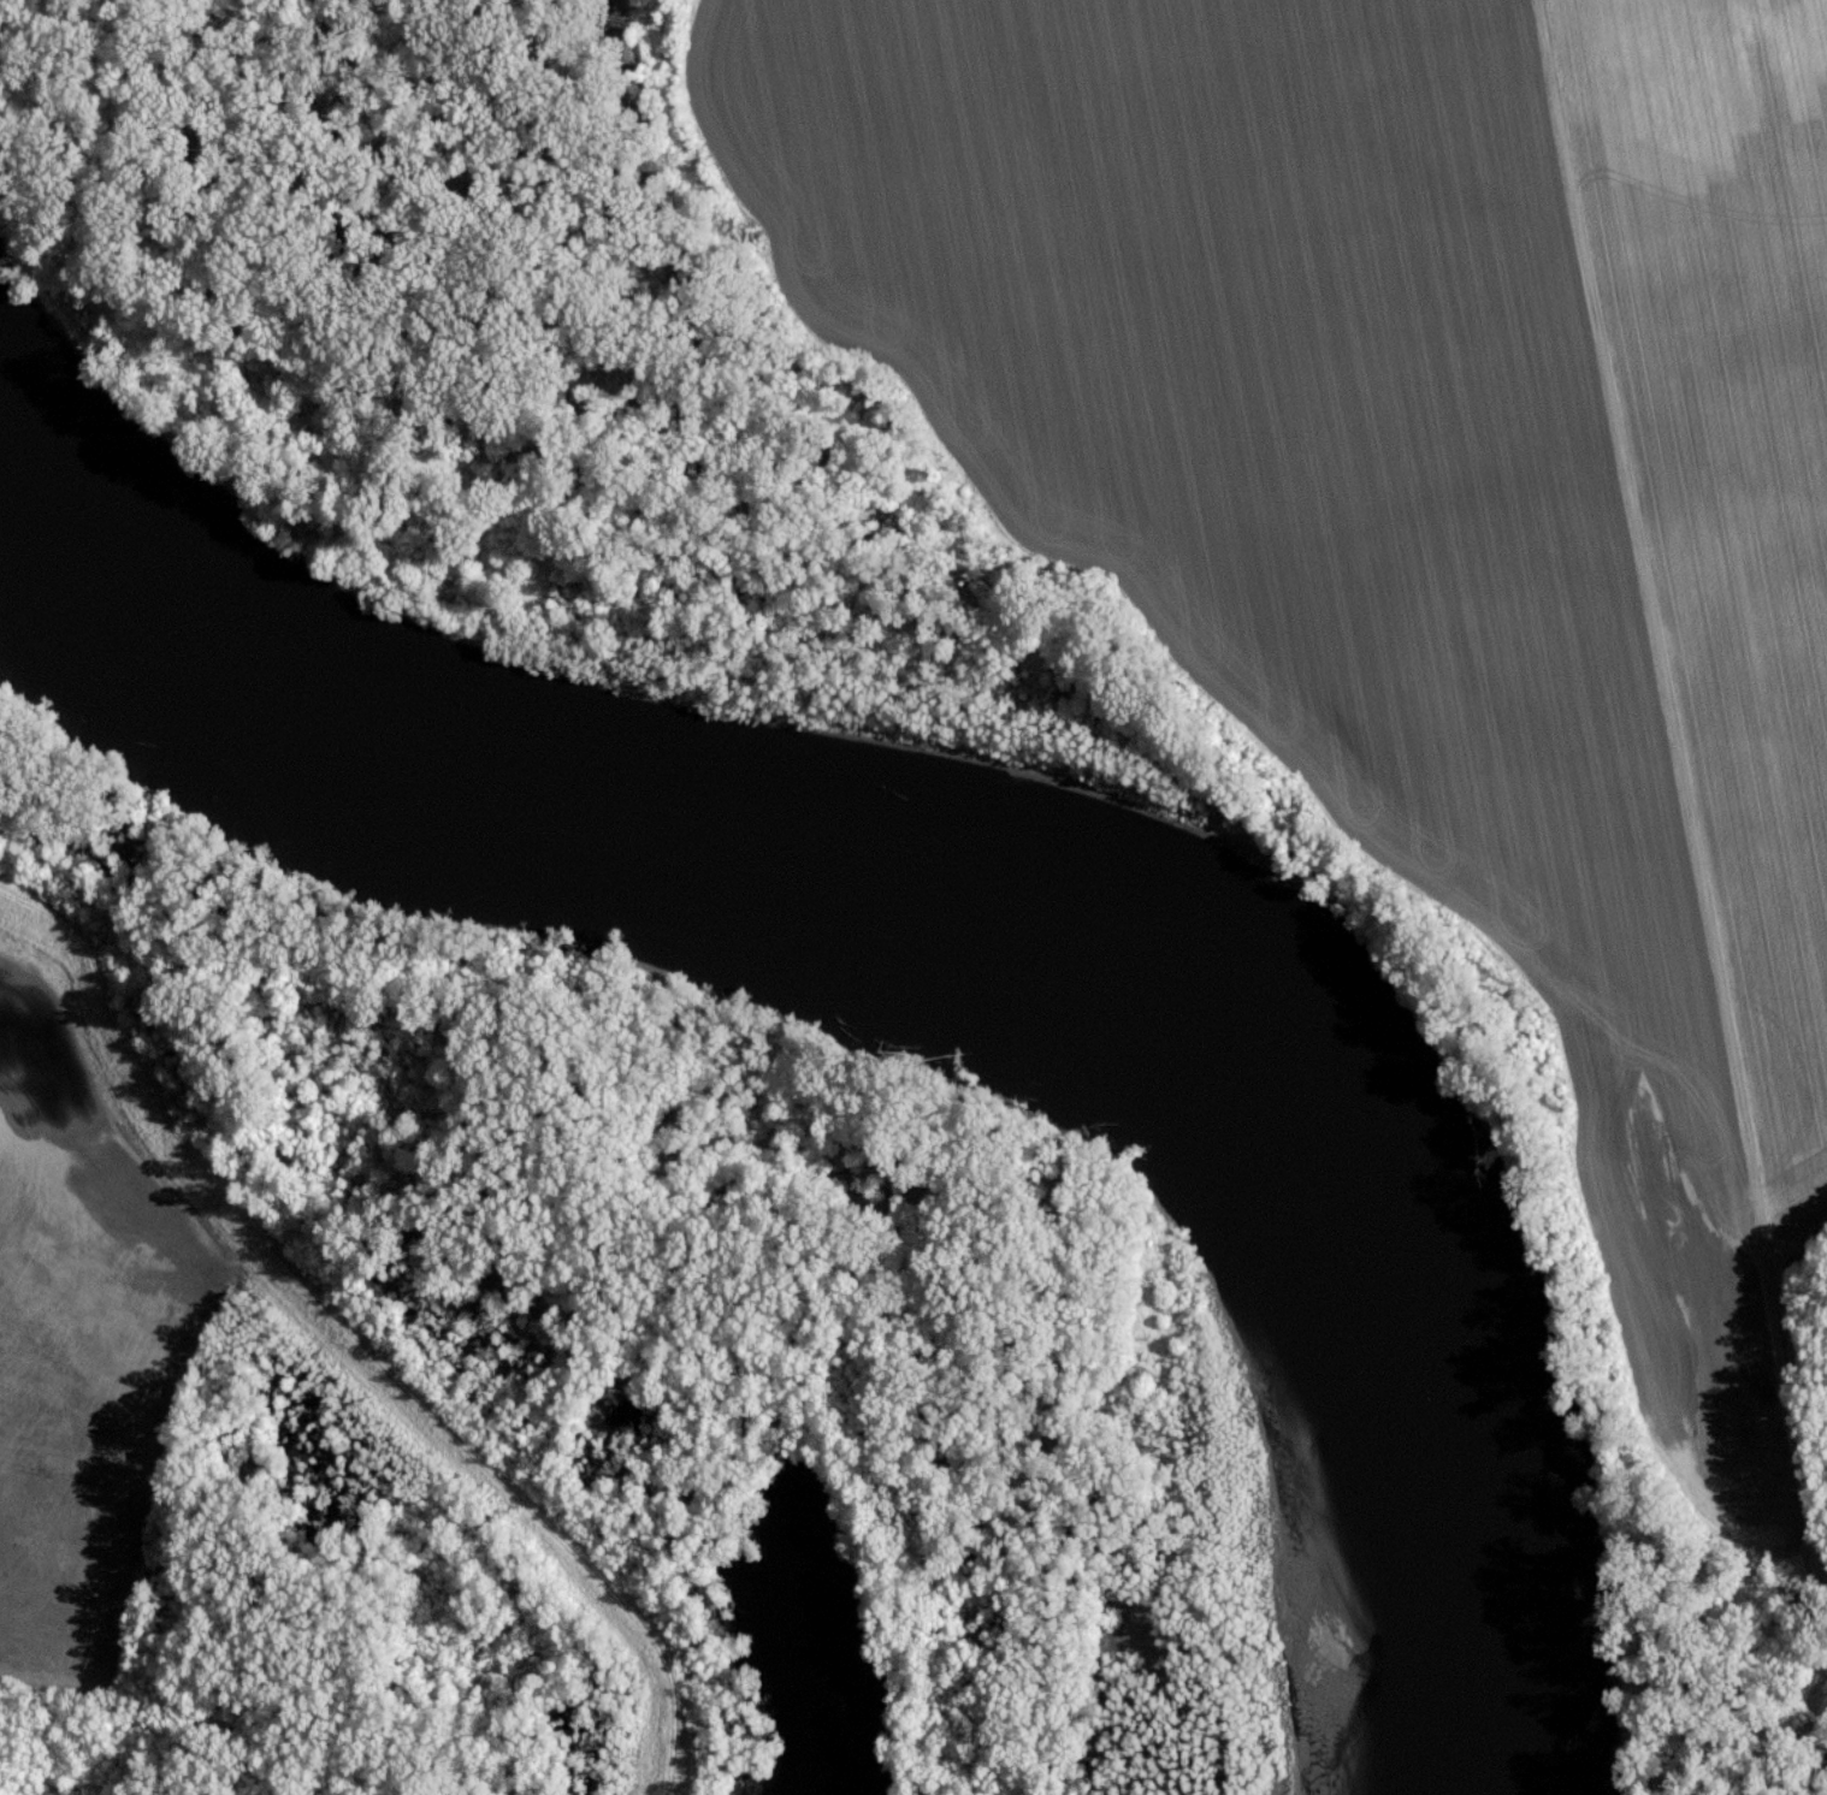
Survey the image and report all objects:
road: (1678, 787)
river: (992, 905)

